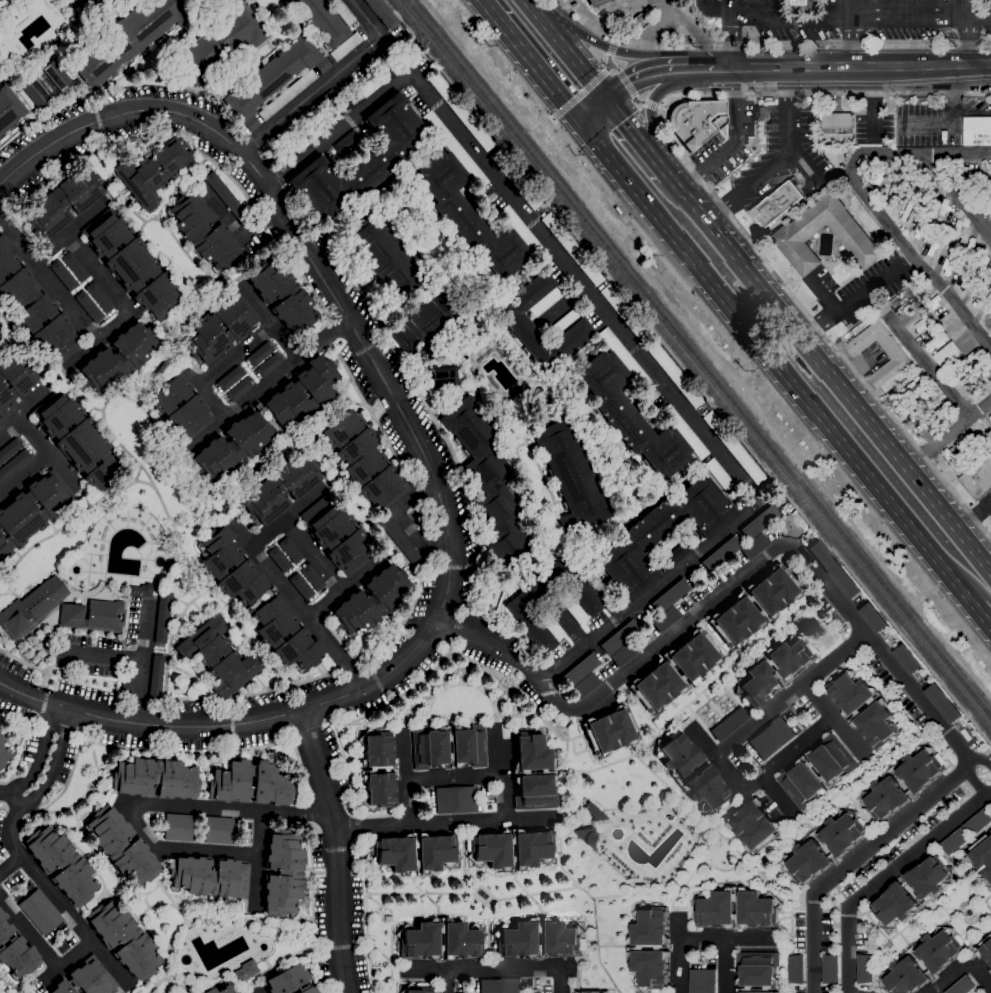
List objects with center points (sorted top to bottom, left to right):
building: (0, 0)
building: (203, 2)
building: (596, 2)
gas station: (596, 2)
building: (87, 5)
road: (718, 7)
building: (796, 7)
road: (532, 8)
road: (970, 9)
road: (733, 10)
building: (343, 11)
building: (383, 13)
road: (862, 14)
building: (642, 19)
road: (366, 20)
building: (322, 21)
road: (652, 29)
road: (695, 31)
road: (850, 33)
building: (127, 38)
road: (616, 41)
road: (970, 41)
building: (220, 42)
road: (732, 44)
road: (769, 45)
building: (346, 46)
road: (612, 49)
road: (623, 52)
road: (573, 58)
road: (531, 61)
road: (611, 63)
building: (323, 65)
road: (956, 65)
road: (609, 67)
road: (740, 67)
road: (844, 67)
road: (699, 68)
building: (388, 71)
building: (57, 75)
road: (641, 75)
building: (271, 76)
road: (626, 83)
building: (370, 86)
building: (36, 93)
road: (581, 93)
building: (288, 94)
road: (309, 95)
building: (329, 95)
building: (25, 98)
building: (353, 100)
traffic signals: (607, 100)
road: (638, 101)
road: (650, 103)
road: (873, 103)
road: (658, 106)
building: (9, 109)
building: (461, 111)
road: (594, 111)
road: (650, 113)
building: (303, 117)
road: (553, 117)
building: (330, 119)
traffic signals: (581, 122)
building: (694, 122)
building: (252, 123)
building: (836, 128)
building: (977, 132)
road: (635, 134)
building: (308, 137)
building: (346, 141)
road: (736, 142)
building: (271, 143)
building: (455, 148)
road: (919, 154)
building: (286, 156)
road: (777, 158)
building: (360, 160)
road: (802, 166)
building: (154, 170)
road: (665, 172)
building: (516, 179)
building: (875, 179)
building: (988, 180)
building: (225, 195)
road: (713, 196)
building: (893, 196)
road: (959, 197)
road: (619, 201)
building: (63, 202)
building: (776, 204)
building: (469, 217)
road: (235, 228)
road: (68, 229)
building: (203, 232)
building: (797, 232)
building: (525, 234)
building: (573, 249)
building: (385, 256)
road: (914, 256)
building: (132, 264)
building: (75, 267)
road: (98, 272)
building: (64, 275)
road: (46, 281)
building: (990, 288)
building: (919, 291)
building: (282, 294)
building: (100, 297)
building: (546, 301)
road: (847, 303)
road: (561, 304)
building: (932, 305)
building: (90, 306)
building: (35, 308)
building: (907, 308)
building: (625, 312)
road: (269, 320)
building: (428, 321)
building: (516, 321)
road: (613, 321)
building: (563, 322)
building: (0, 327)
building: (221, 328)
building: (0, 337)
road: (96, 339)
building: (260, 353)
building: (893, 353)
building: (947, 355)
building: (972, 355)
building: (118, 357)
building: (624, 357)
railway: (699, 359)
road: (777, 363)
building: (269, 364)
railway: (693, 365)
road: (931, 372)
building: (674, 373)
road: (828, 374)
building: (441, 376)
building: (230, 378)
building: (14, 381)
building: (963, 382)
building: (238, 389)
road: (30, 402)
building: (923, 402)
building: (181, 407)
road: (233, 409)
building: (939, 414)
building: (630, 416)
building: (281, 418)
road: (11, 429)
building: (685, 431)
road: (947, 434)
building: (77, 438)
building: (968, 446)
building: (734, 447)
building: (9, 449)
road: (47, 450)
building: (953, 460)
building: (364, 461)
building: (14, 464)
road: (428, 465)
road: (25, 474)
building: (720, 474)
building: (571, 477)
building: (978, 479)
building: (489, 481)
building: (281, 488)
building: (32, 510)
road: (287, 516)
road: (404, 520)
building: (760, 521)
building: (662, 534)
building: (338, 536)
building: (401, 541)
building: (755, 546)
building: (291, 550)
building: (678, 553)
building: (722, 553)
road: (772, 554)
road: (311, 555)
building: (280, 559)
building: (834, 570)
building: (313, 577)
building: (301, 586)
road: (344, 586)
building: (141, 591)
building: (671, 595)
building: (371, 600)
building: (257, 601)
road: (297, 604)
building: (571, 605)
building: (32, 606)
building: (736, 606)
building: (520, 607)
building: (93, 615)
road: (980, 615)
building: (162, 617)
building: (873, 618)
building: (666, 619)
road: (568, 623)
building: (551, 624)
road: (989, 625)
road: (989, 625)
building: (488, 629)
building: (619, 637)
road: (493, 648)
building: (625, 653)
road: (98, 656)
building: (217, 657)
building: (906, 660)
road: (138, 661)
building: (581, 669)
building: (661, 670)
building: (774, 670)
building: (156, 676)
building: (127, 683)
building: (586, 685)
building: (943, 704)
building: (863, 709)
building: (729, 723)
building: (610, 730)
building: (772, 738)
road: (851, 738)
road: (703, 740)
building: (467, 747)
building: (4, 752)
road: (41, 755)
road: (719, 759)
road: (982, 761)
road: (53, 764)
building: (534, 767)
building: (378, 769)
road: (498, 770)
building: (691, 771)
road: (451, 774)
building: (799, 774)
road: (404, 776)
building: (155, 778)
road: (972, 781)
building: (250, 783)
building: (885, 785)
road: (11, 794)
road: (776, 796)
building: (456, 800)
road: (146, 803)
building: (594, 811)
building: (978, 822)
road: (441, 823)
building: (752, 825)
building: (178, 827)
building: (219, 830)
building: (589, 836)
building: (954, 841)
building: (122, 846)
road: (337, 849)
building: (807, 849)
building: (491, 850)
building: (414, 853)
building: (982, 858)
road: (854, 859)
road: (258, 860)
road: (10, 864)
building: (62, 864)
building: (282, 872)
building: (209, 876)
road: (886, 876)
building: (912, 893)
road: (56, 899)
building: (40, 912)
building: (757, 912)
building: (463, 936)
road: (728, 936)
building: (124, 939)
building: (538, 939)
building: (642, 948)
building: (985, 950)
building: (15, 951)
road: (42, 951)
road: (678, 952)
building: (937, 960)
road: (724, 964)
road: (960, 964)
road: (496, 968)
building: (795, 969)
building: (864, 969)
building: (829, 970)
building: (245, 971)
building: (757, 972)
building: (990, 972)
building: (86, 979)
road: (445, 980)
building: (290, 981)
building: (702, 981)
building: (500, 986)
building: (962, 986)
building: (220, 989)
building: (416, 989)
road: (257, 990)
building: (235, 992)
building: (592, 992)

